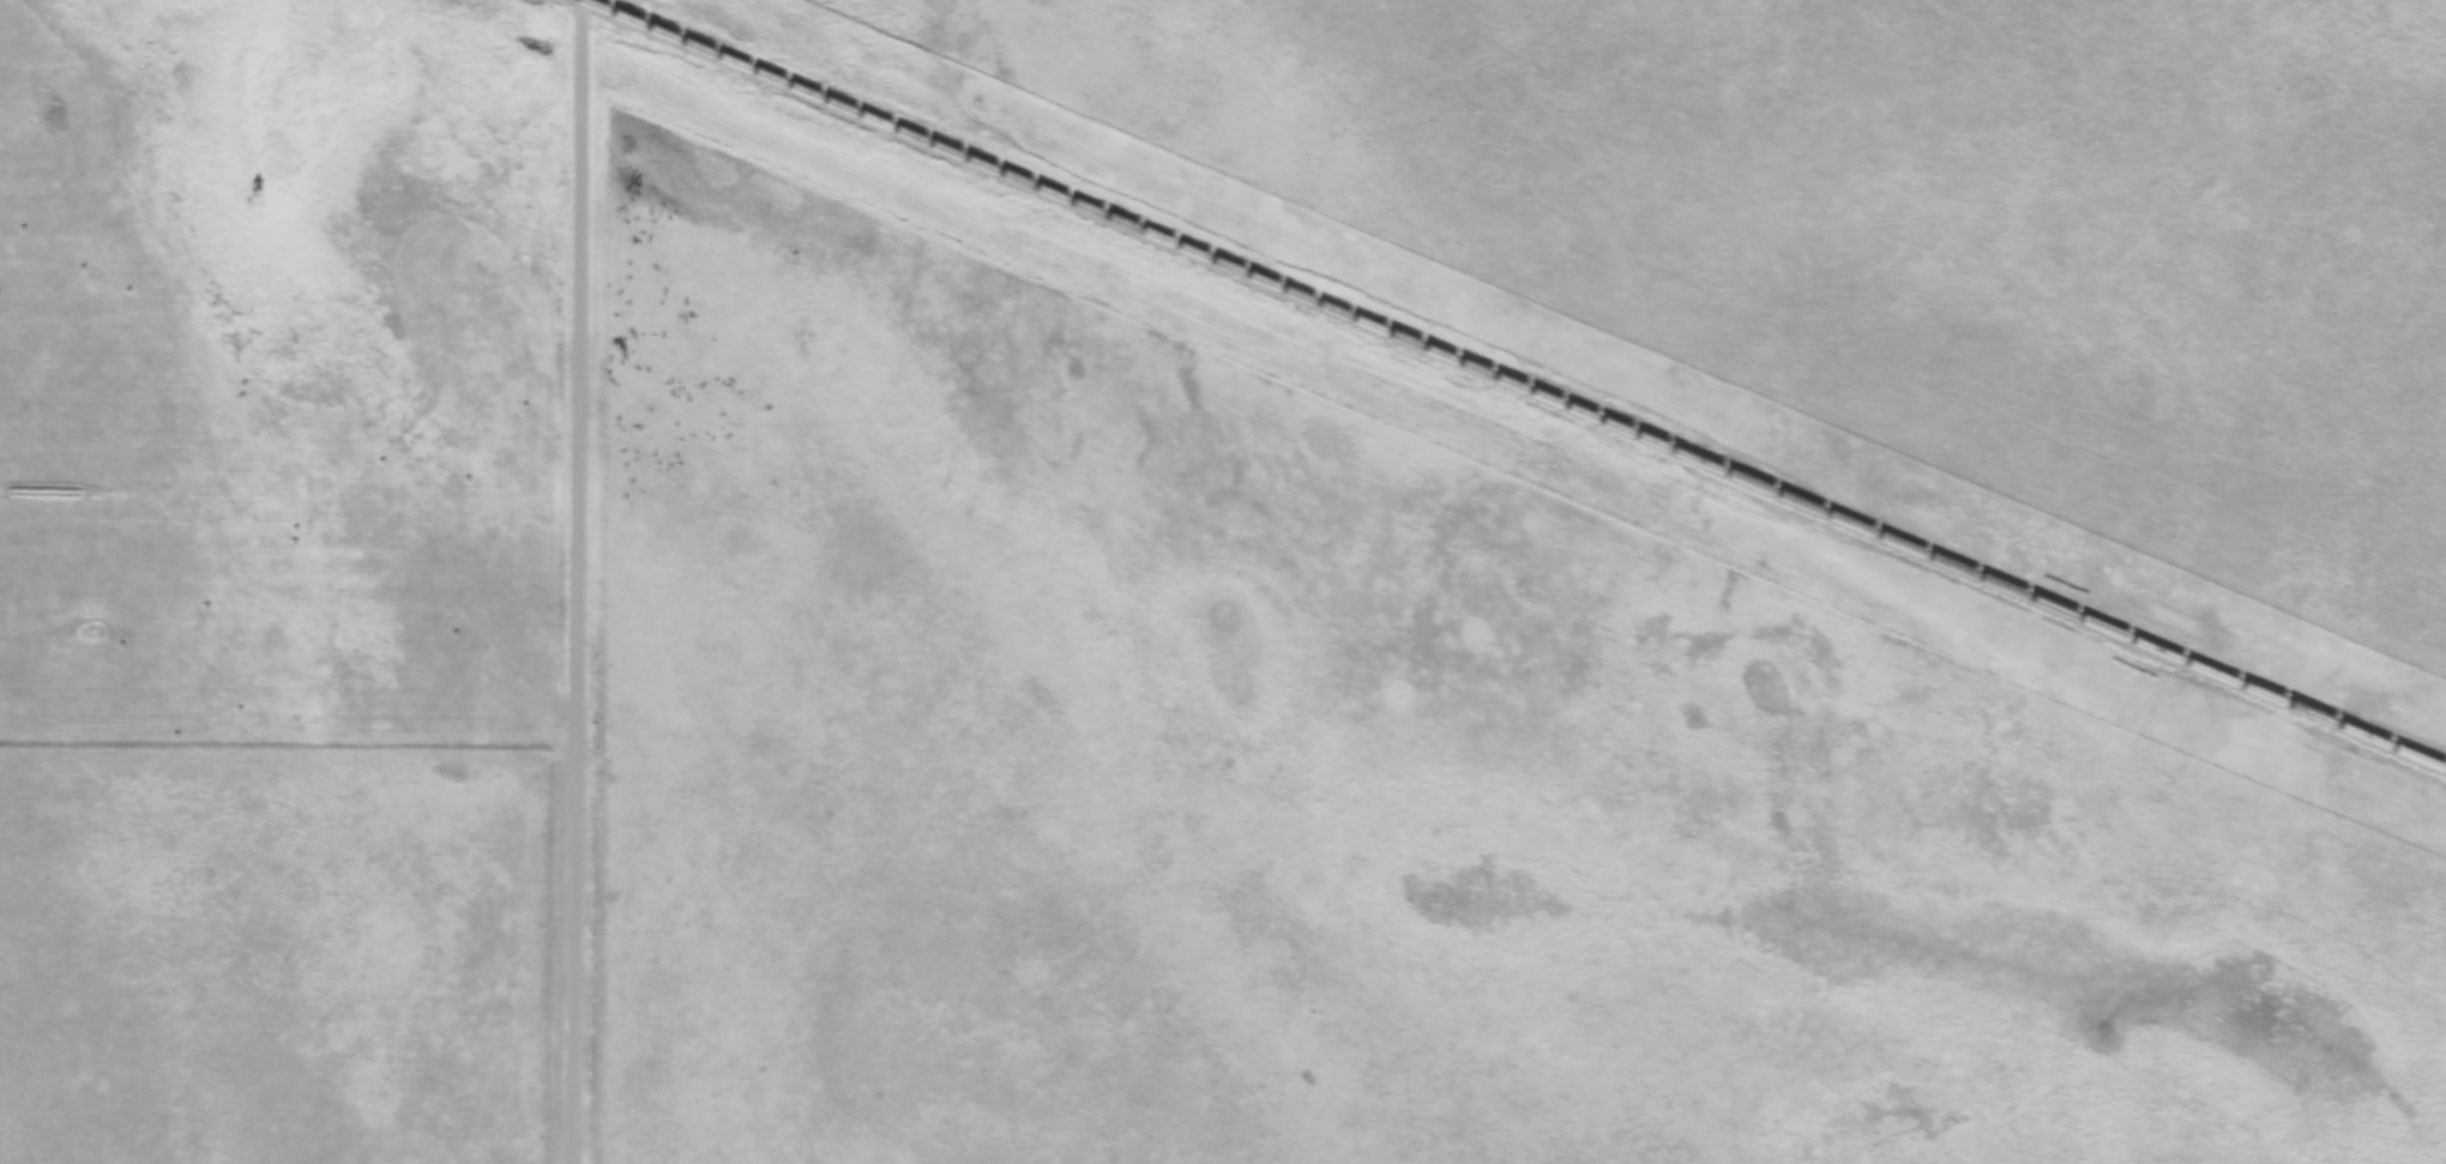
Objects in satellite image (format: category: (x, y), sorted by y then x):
railway: (1514, 384)
road: (582, 581)

